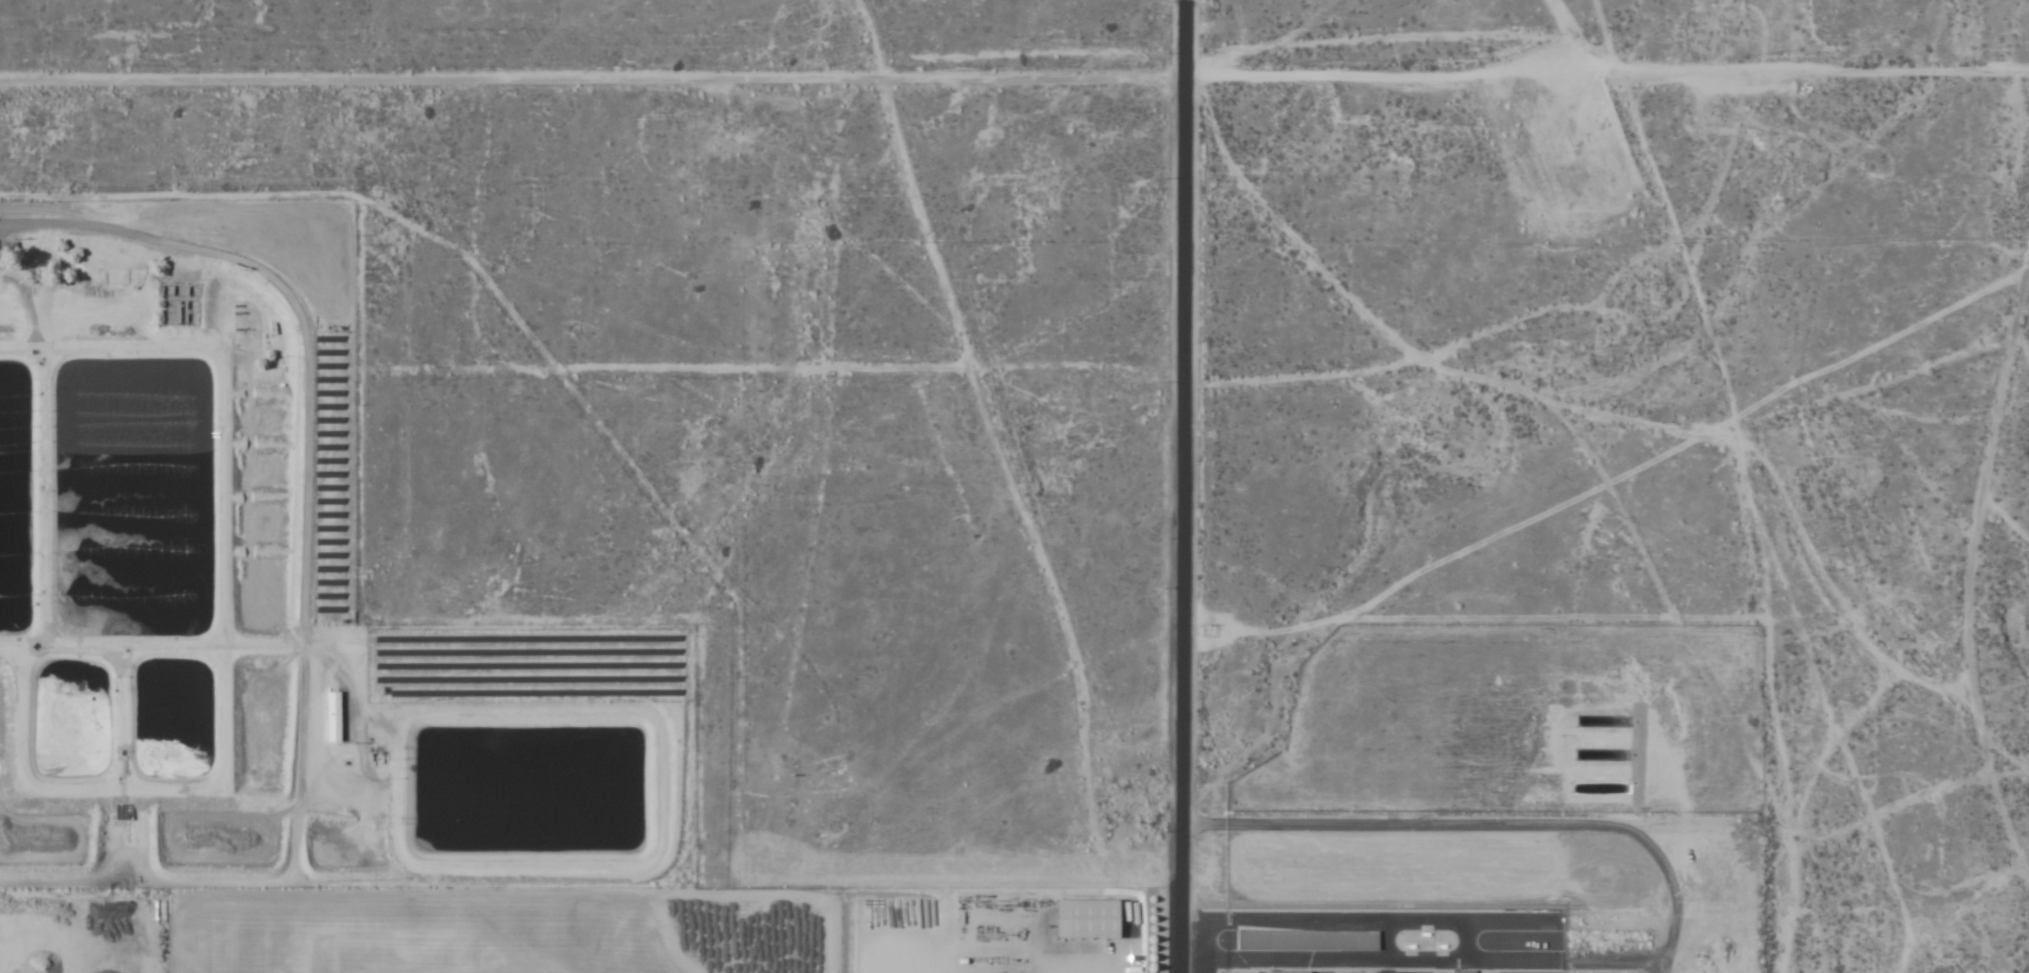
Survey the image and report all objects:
road: (1147, 63)
road: (1174, 486)
wastewater plant: (268, 595)
road: (1482, 825)
road: (1424, 918)
building: (1083, 920)
building: (1306, 941)
building: (1285, 972)

